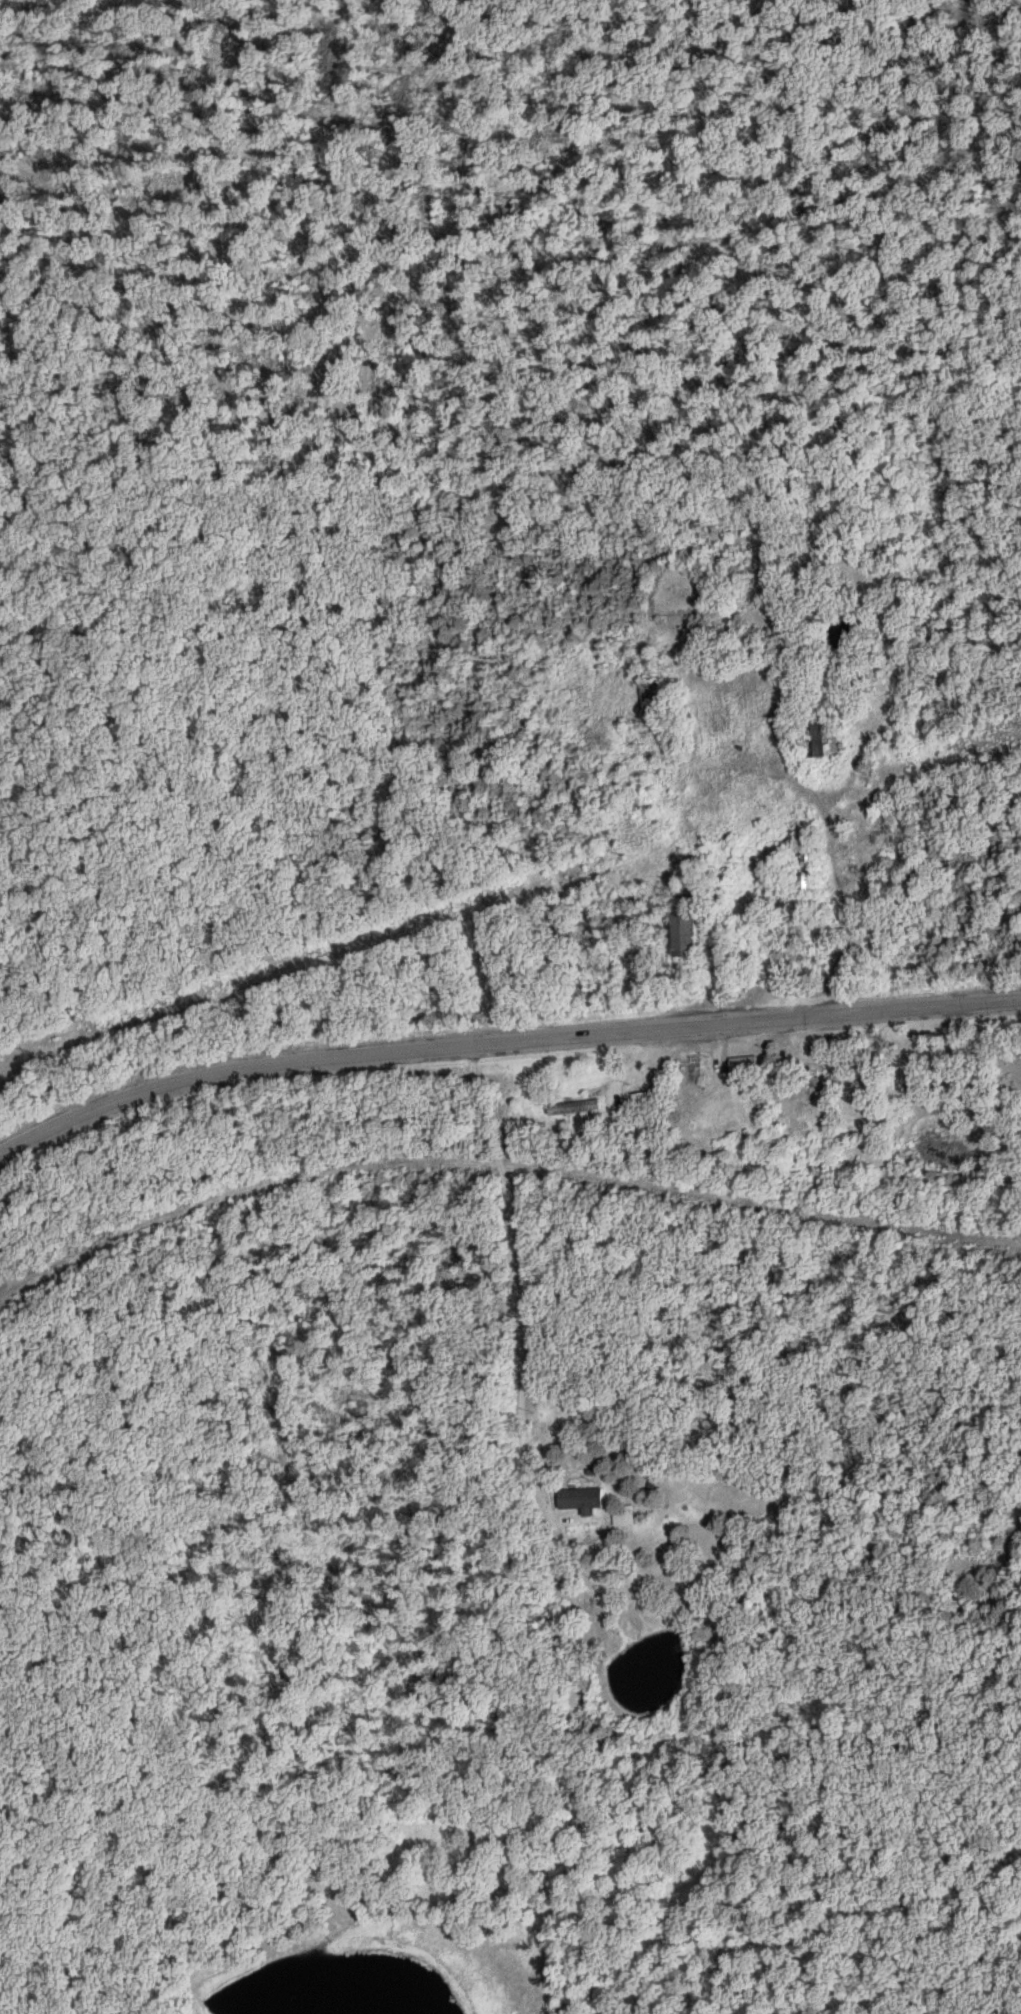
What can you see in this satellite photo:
building: (648, 698)
building: (803, 871)
building: (684, 937)
road: (502, 1042)
building: (570, 1109)
railway: (502, 1169)
road: (512, 1262)
building: (575, 1500)
building: (618, 1518)

